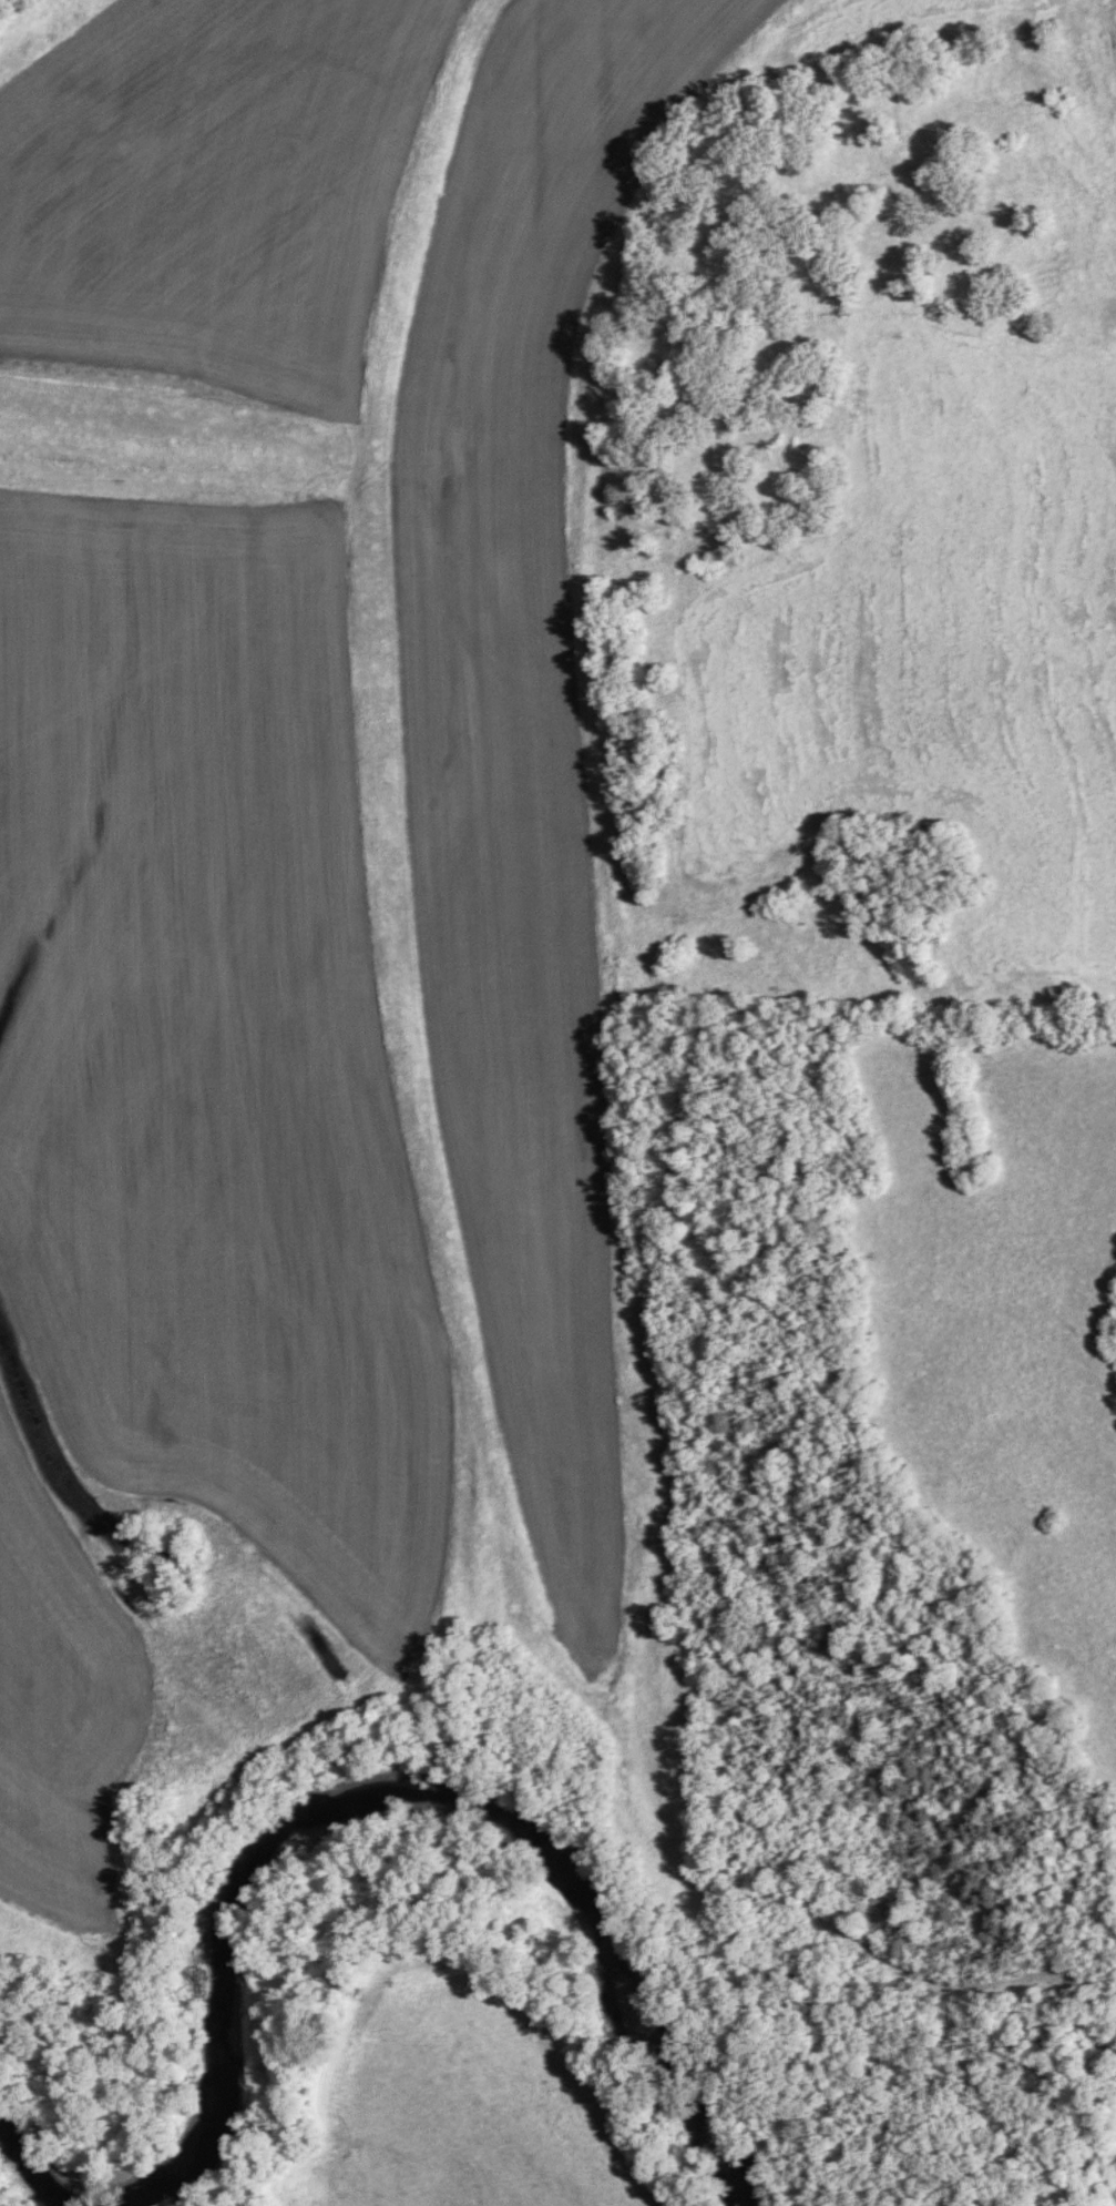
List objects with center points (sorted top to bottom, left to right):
river: (340, 1805)

